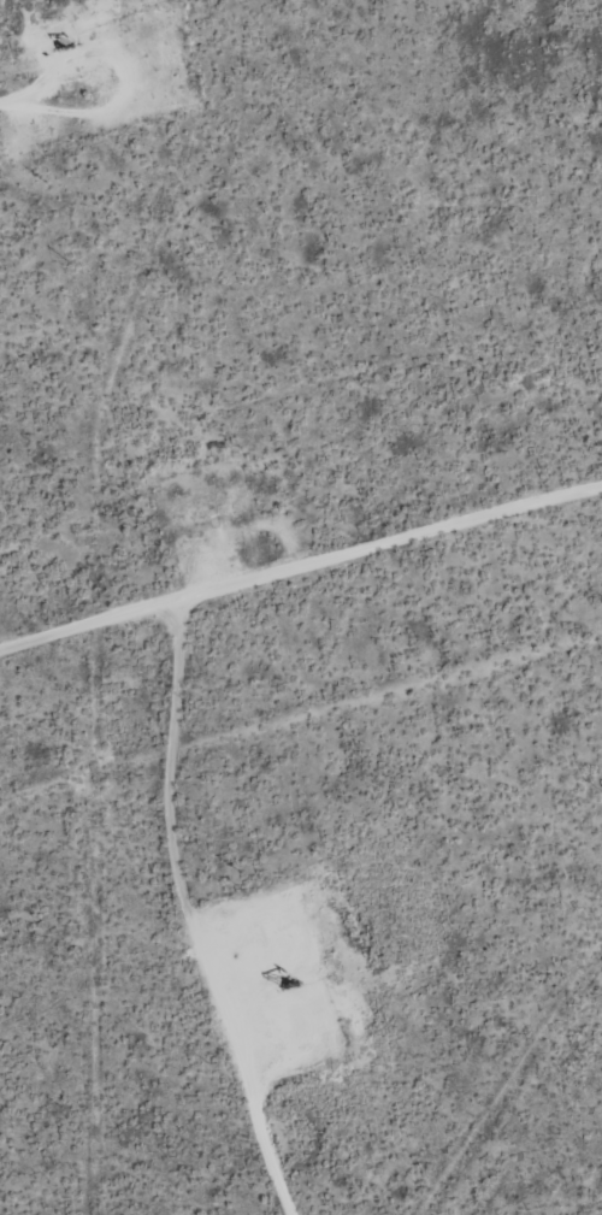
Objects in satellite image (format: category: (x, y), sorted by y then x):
road: (301, 573)

